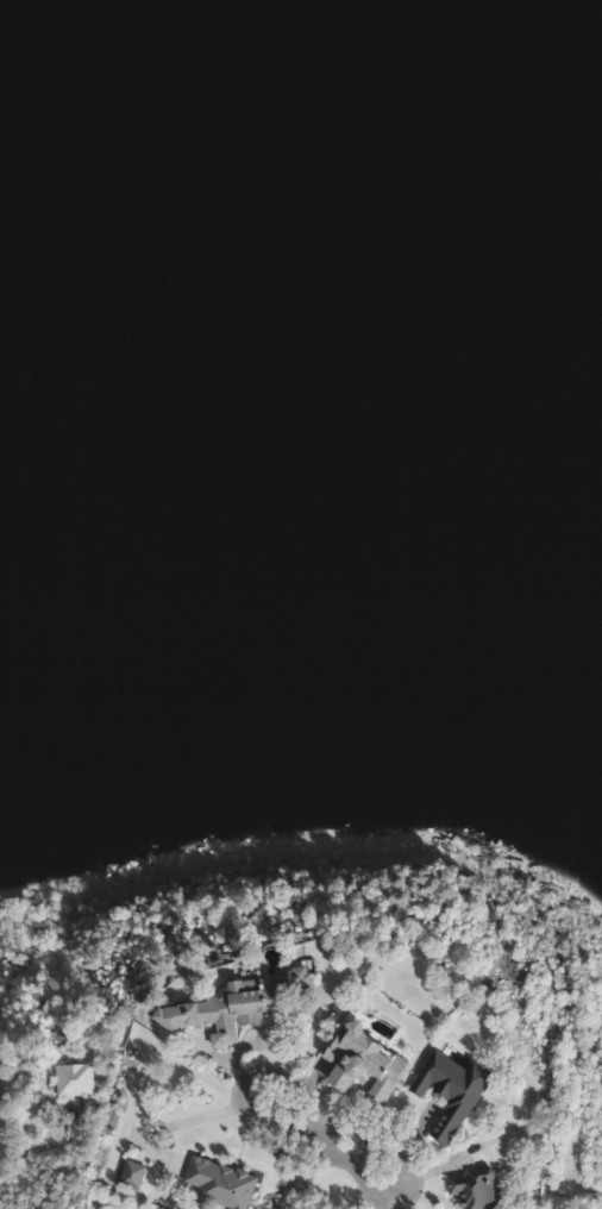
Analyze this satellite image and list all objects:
building: (252, 1007)
building: (456, 1091)
road: (73, 1107)
road: (299, 1122)
road: (328, 1148)
road: (2, 1154)
building: (225, 1184)
building: (479, 1189)

